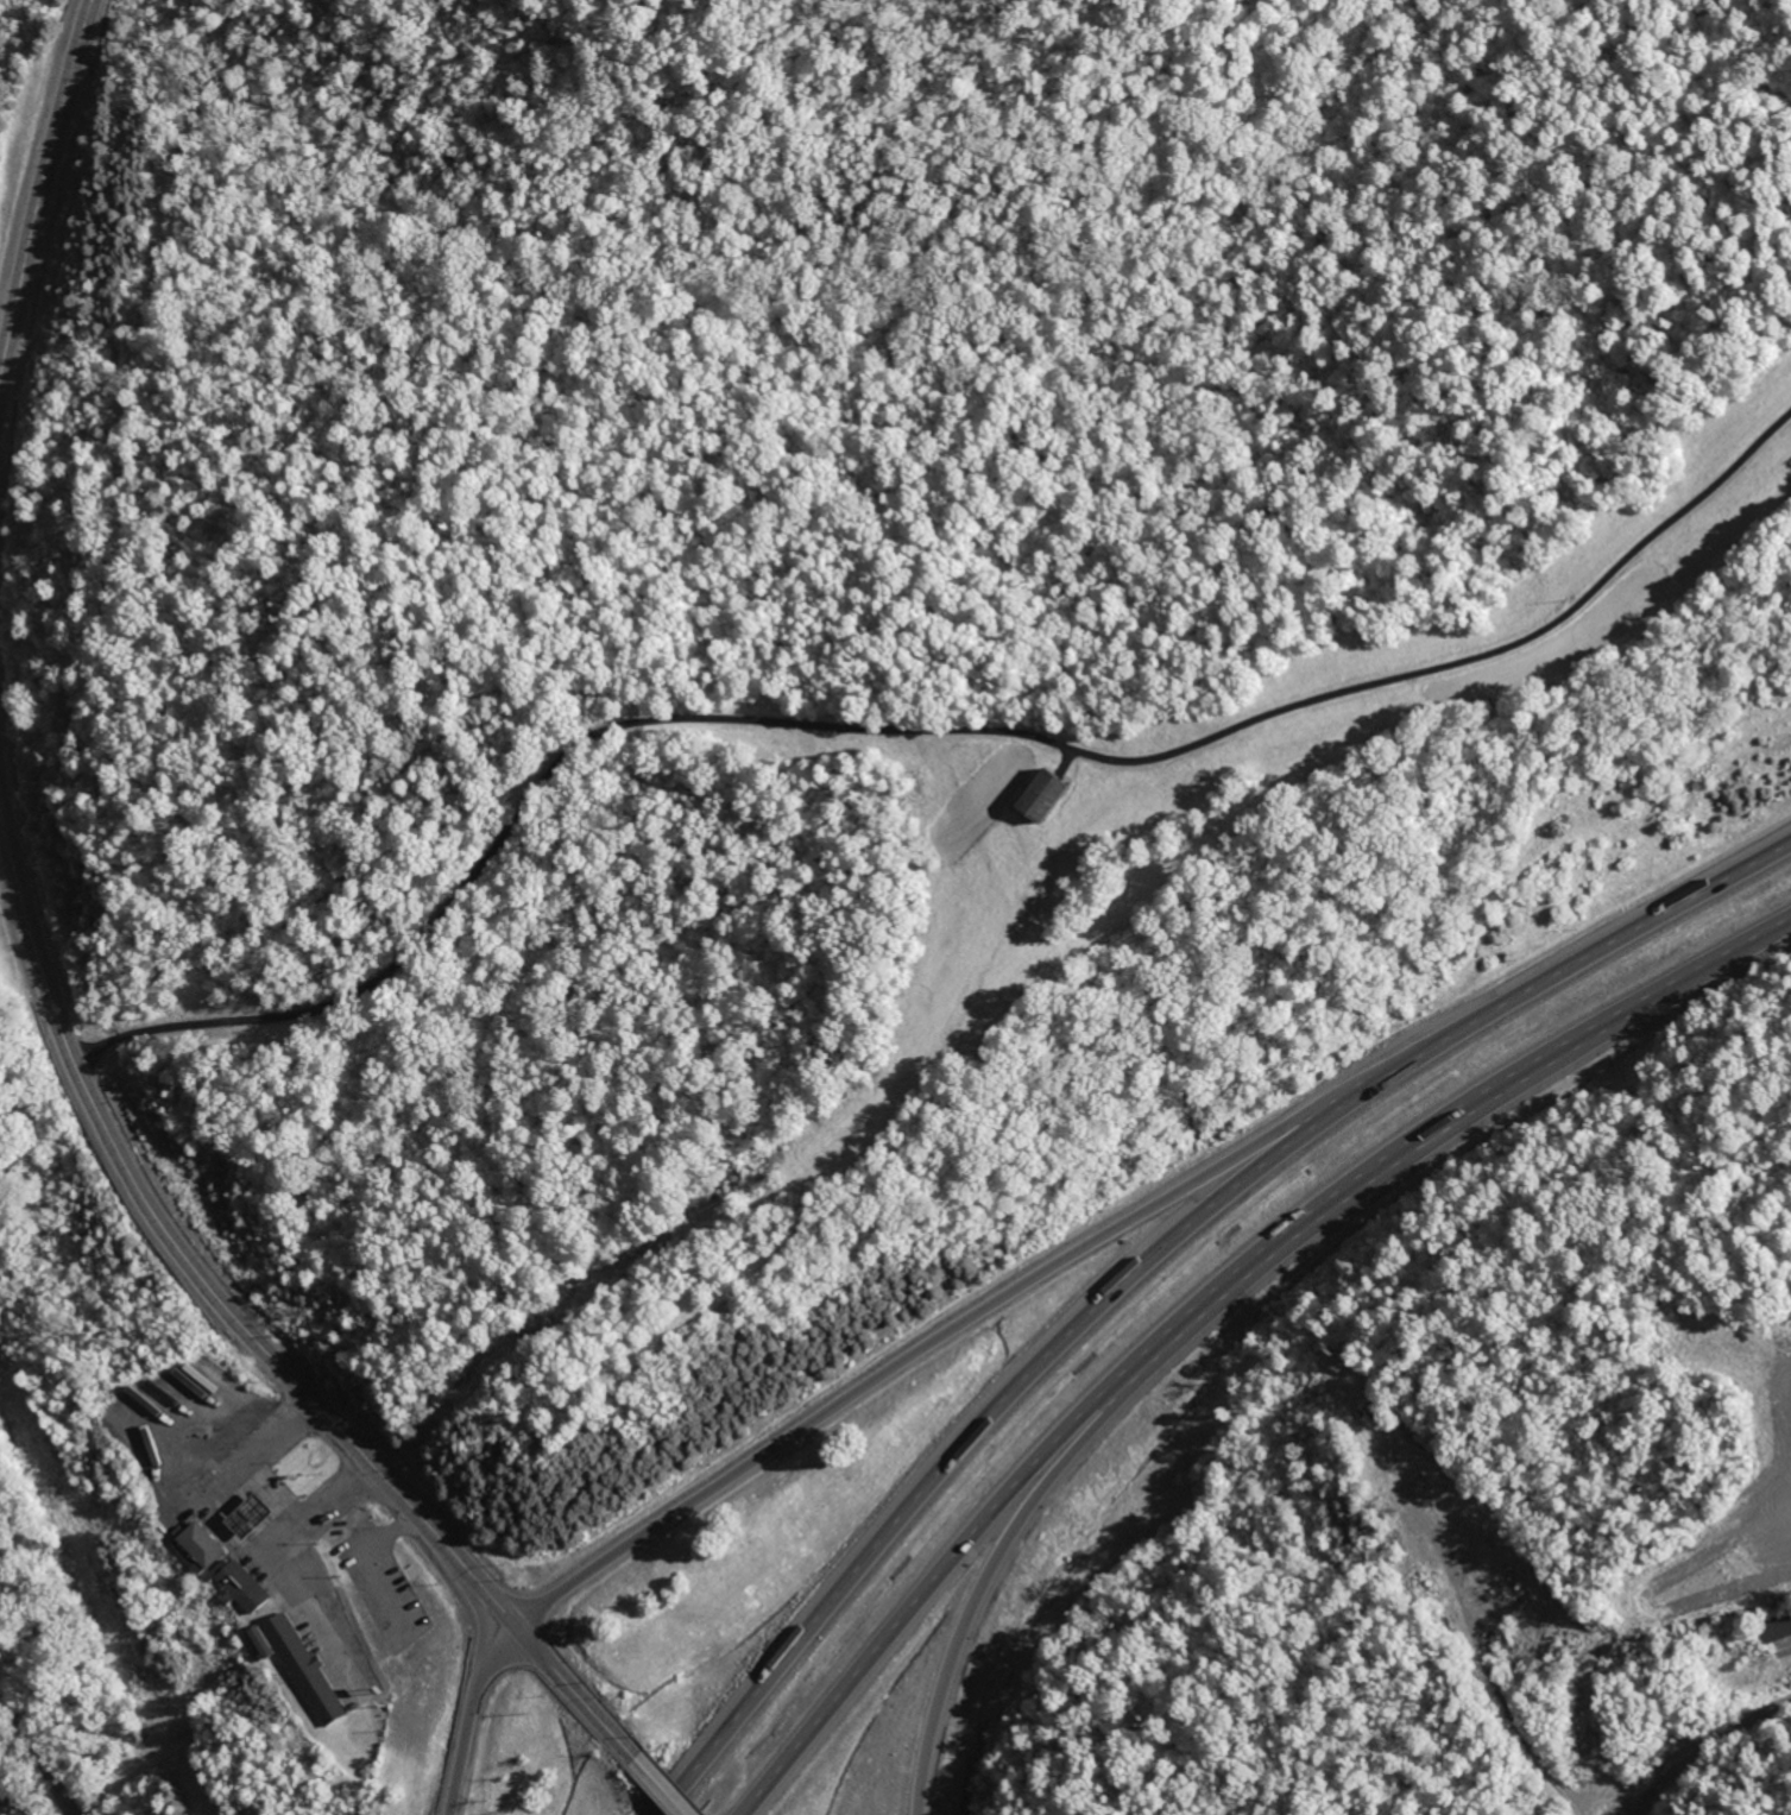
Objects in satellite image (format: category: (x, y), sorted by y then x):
road: (40, 181)
building: (1034, 794)
road: (1156, 1249)
road: (1211, 1302)
road: (956, 1323)
road: (1192, 1331)
road: (248, 1332)
road: (493, 1367)
road: (316, 1508)
road: (235, 1534)
building: (196, 1548)
building: (239, 1584)
building: (296, 1664)
road: (469, 1712)
road: (1704, 1750)
road: (34, 1753)
road: (660, 1783)

